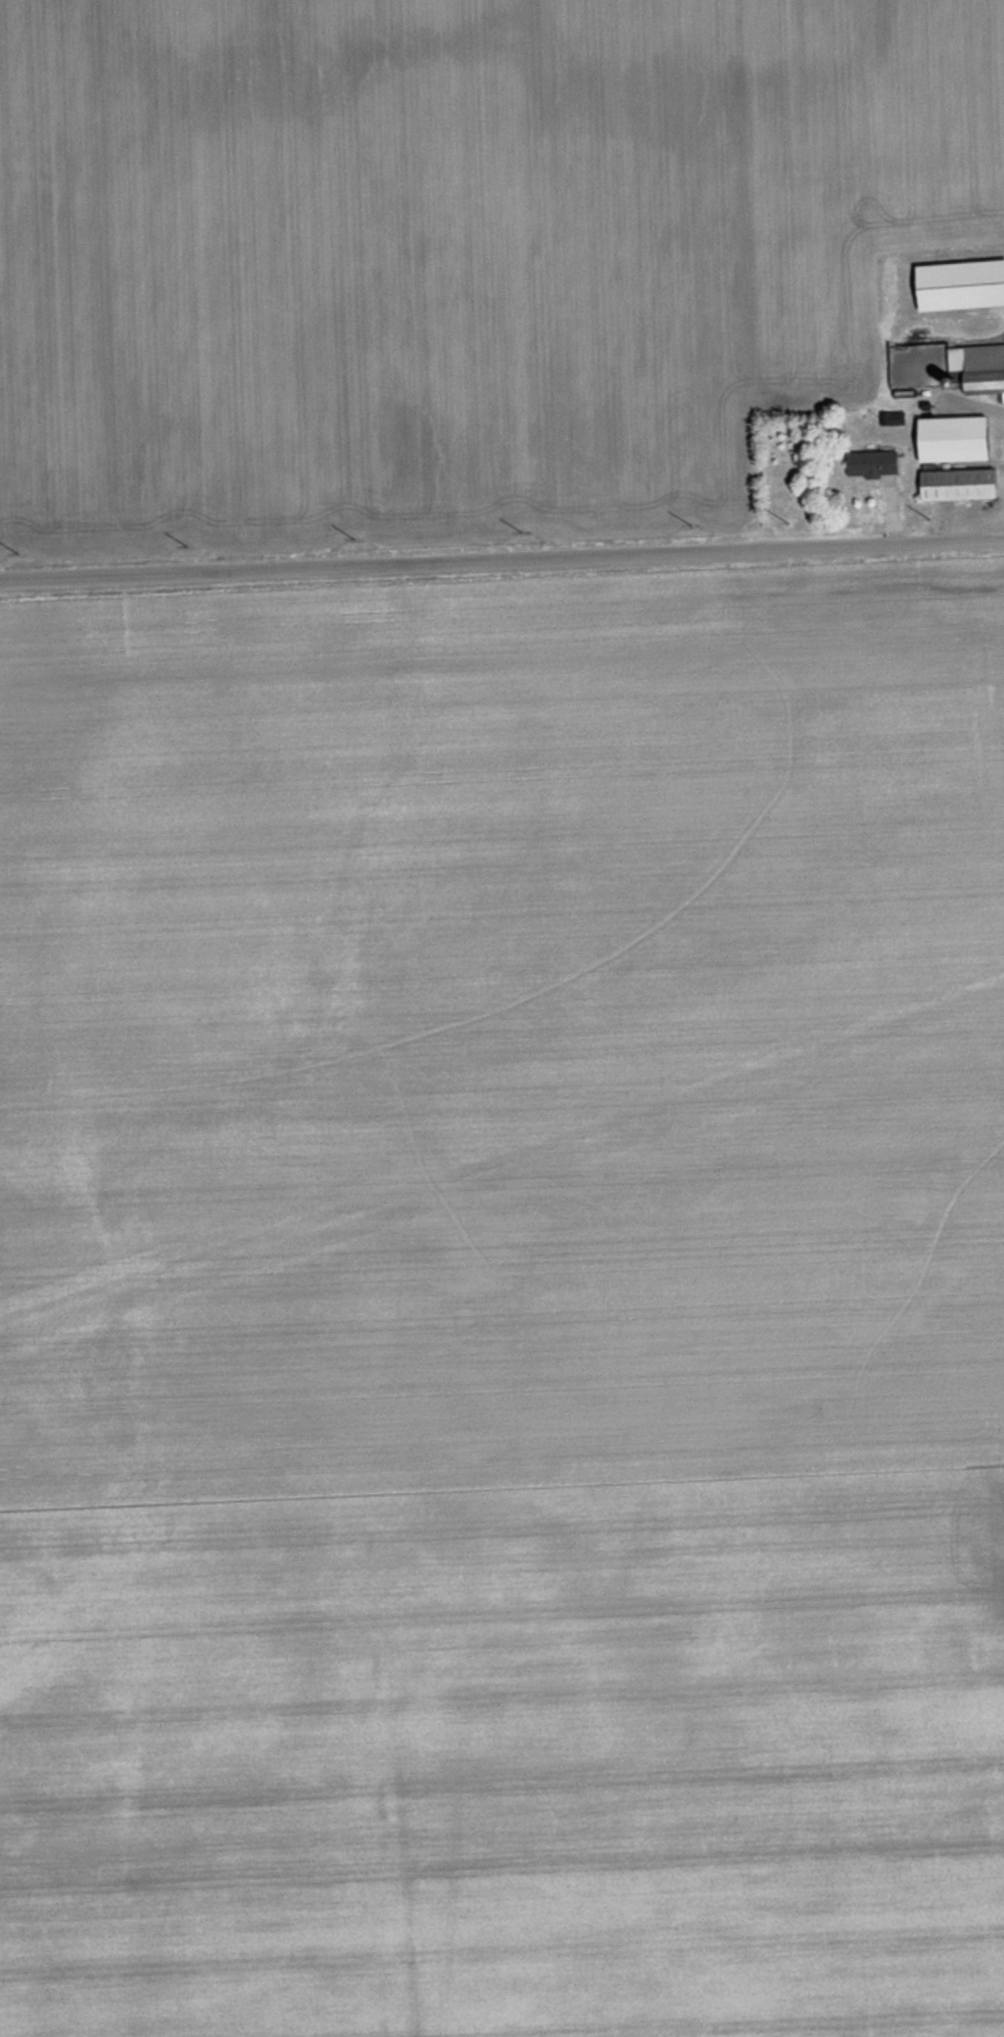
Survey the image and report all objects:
building: (990, 366)
building: (946, 439)
building: (867, 462)
building: (951, 485)
road: (502, 566)

